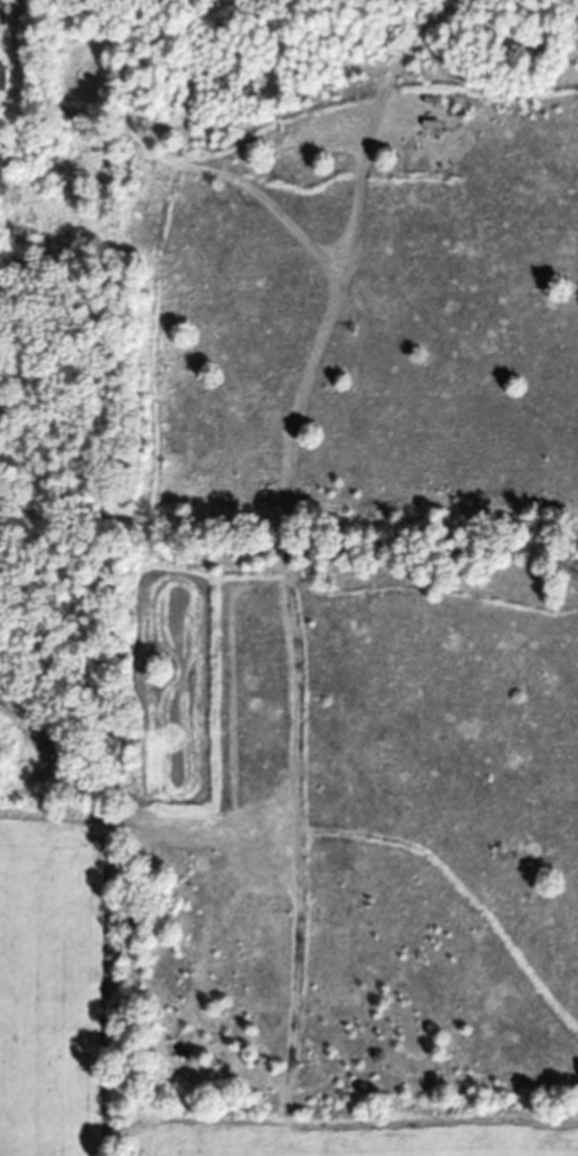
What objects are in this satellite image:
building: (6, 78)
building: (75, 117)

